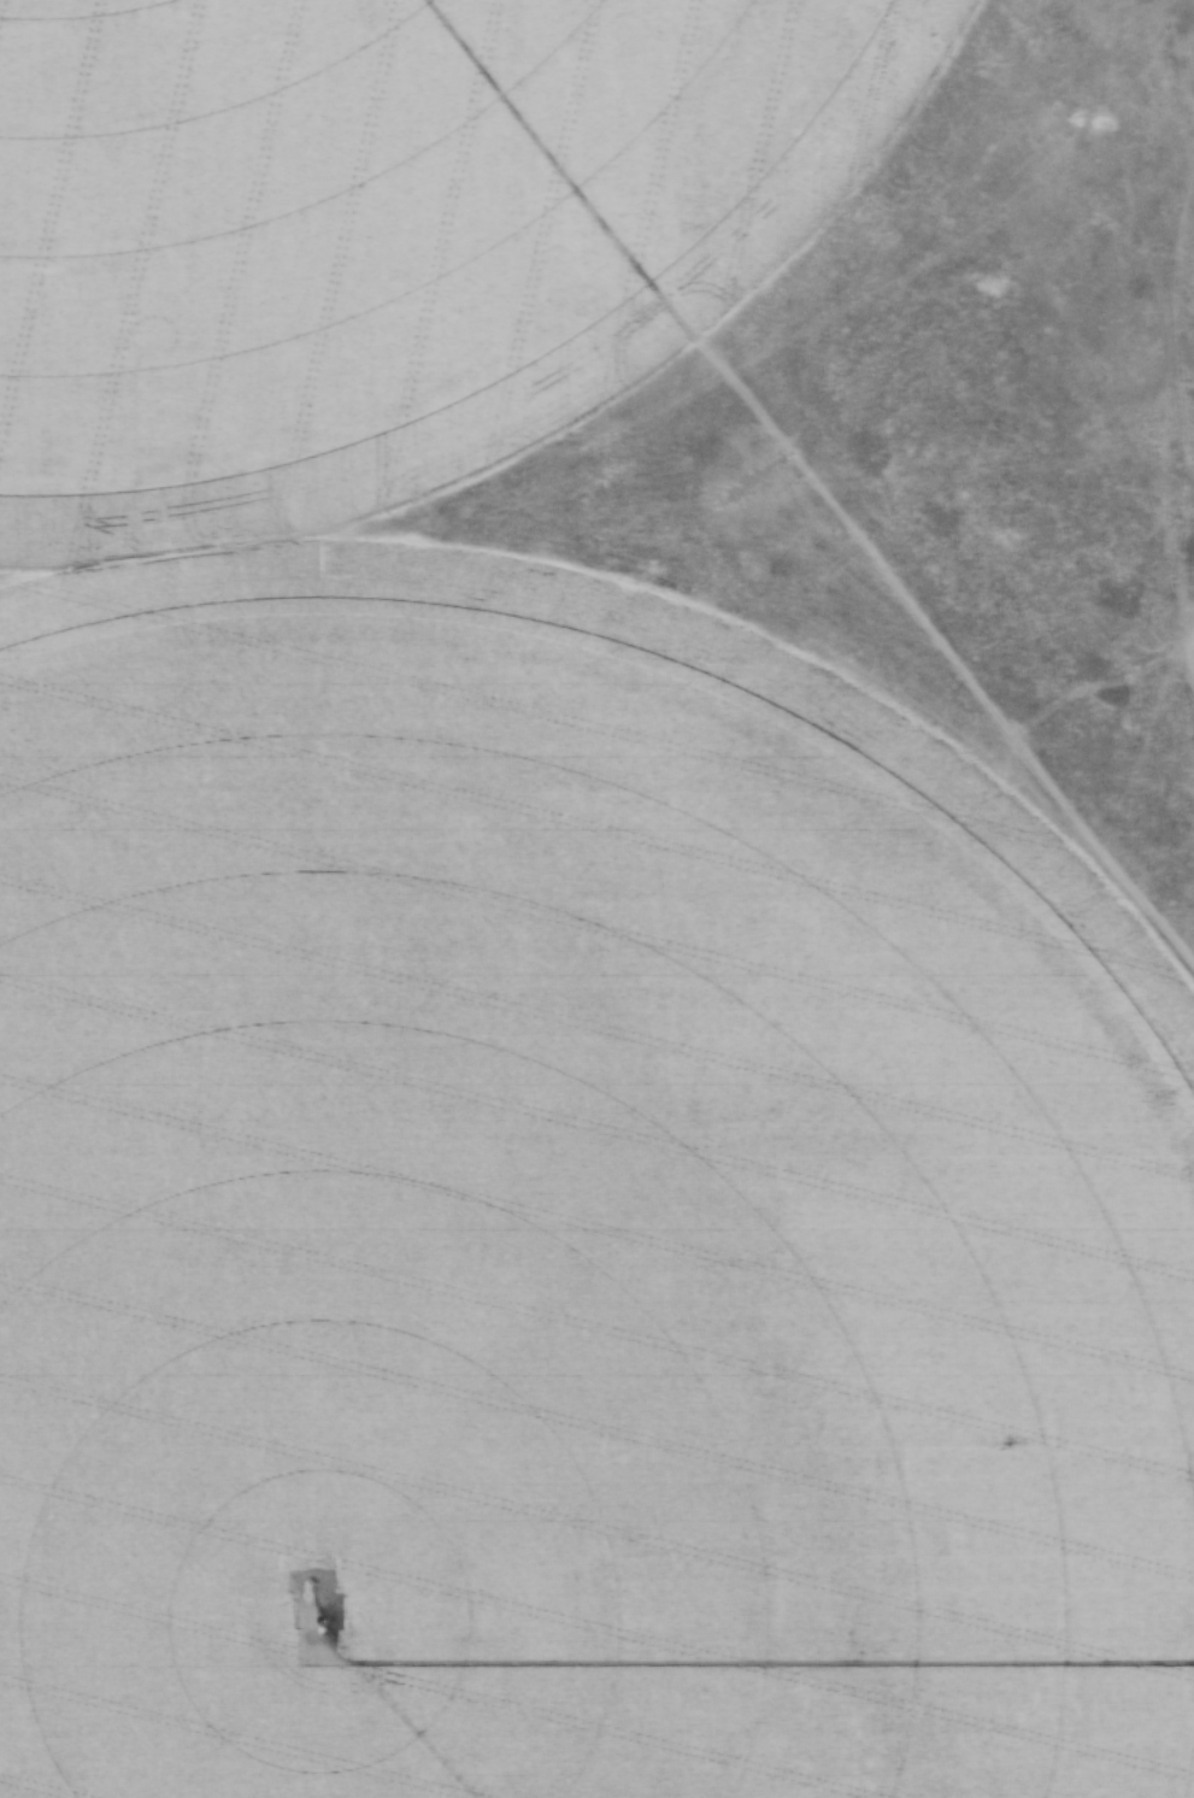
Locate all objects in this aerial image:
crop: (523, 999)

